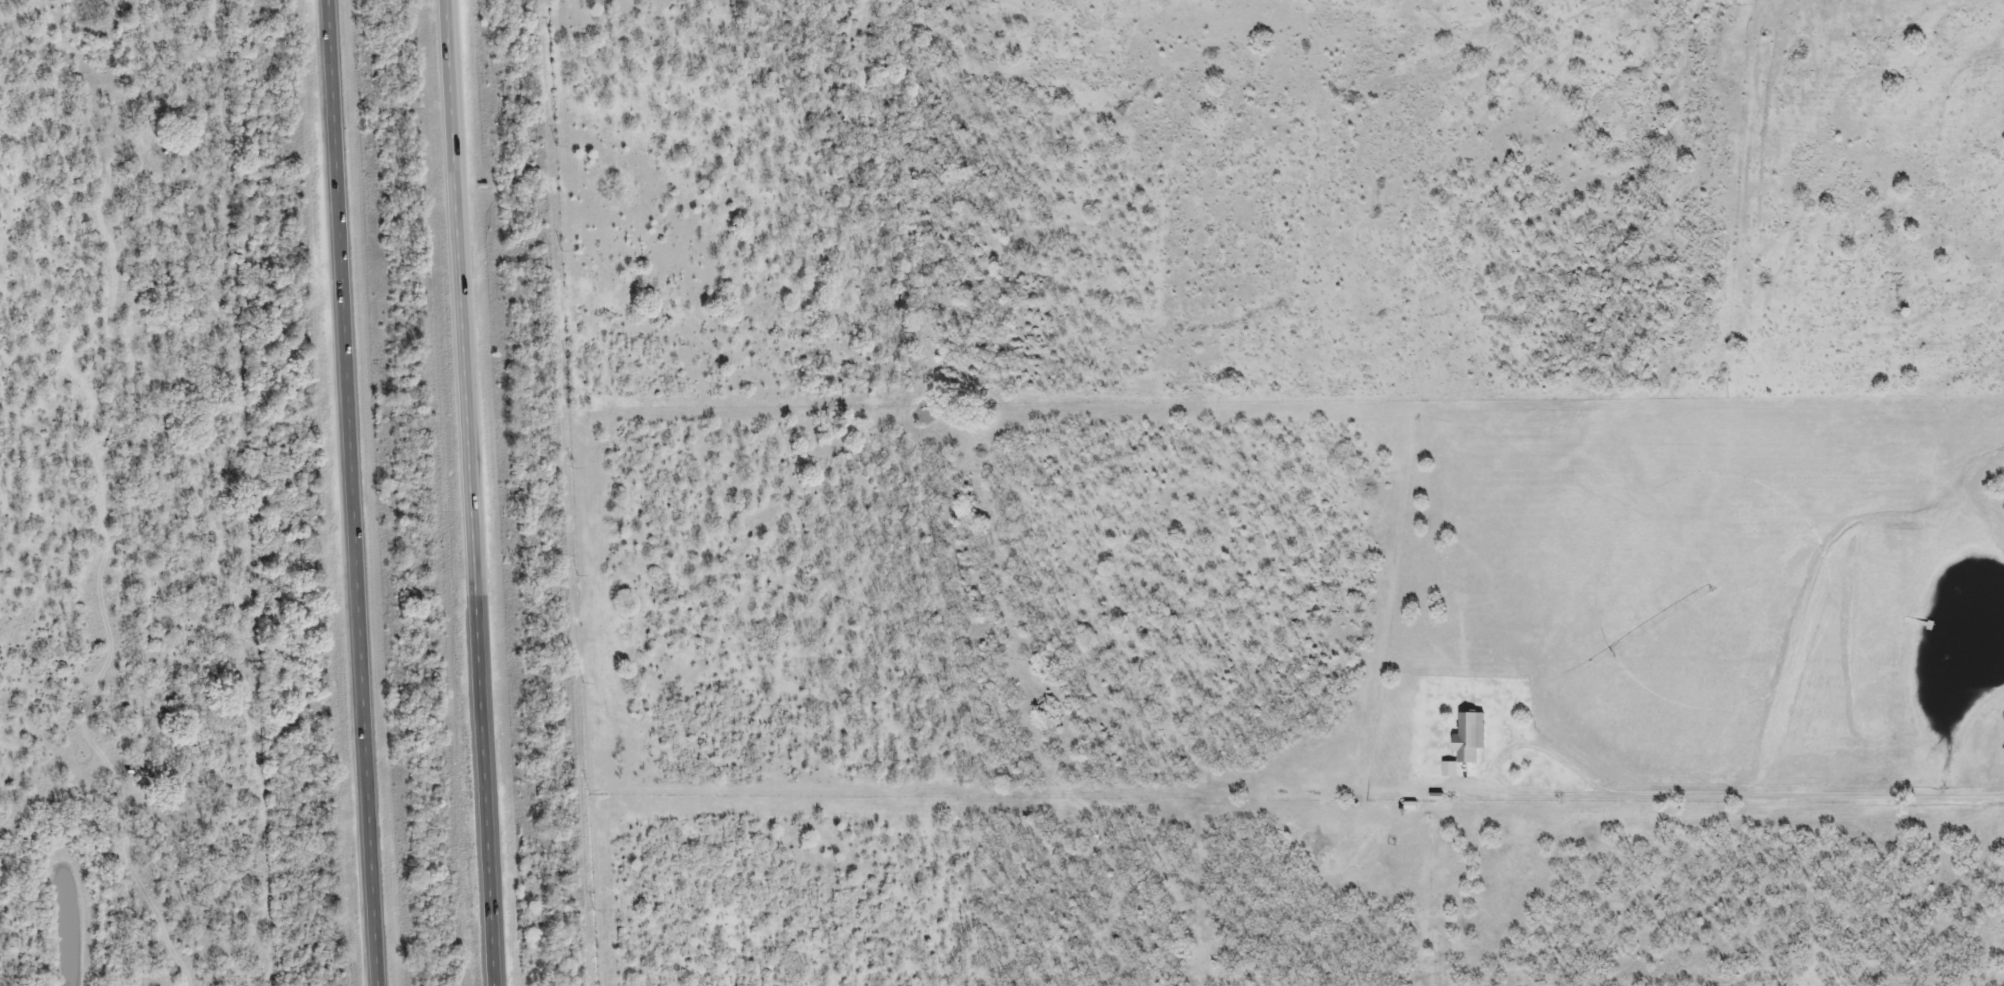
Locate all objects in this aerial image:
road: (486, 492)
road: (353, 493)
building: (1466, 739)
road: (1496, 767)
road: (1805, 797)

